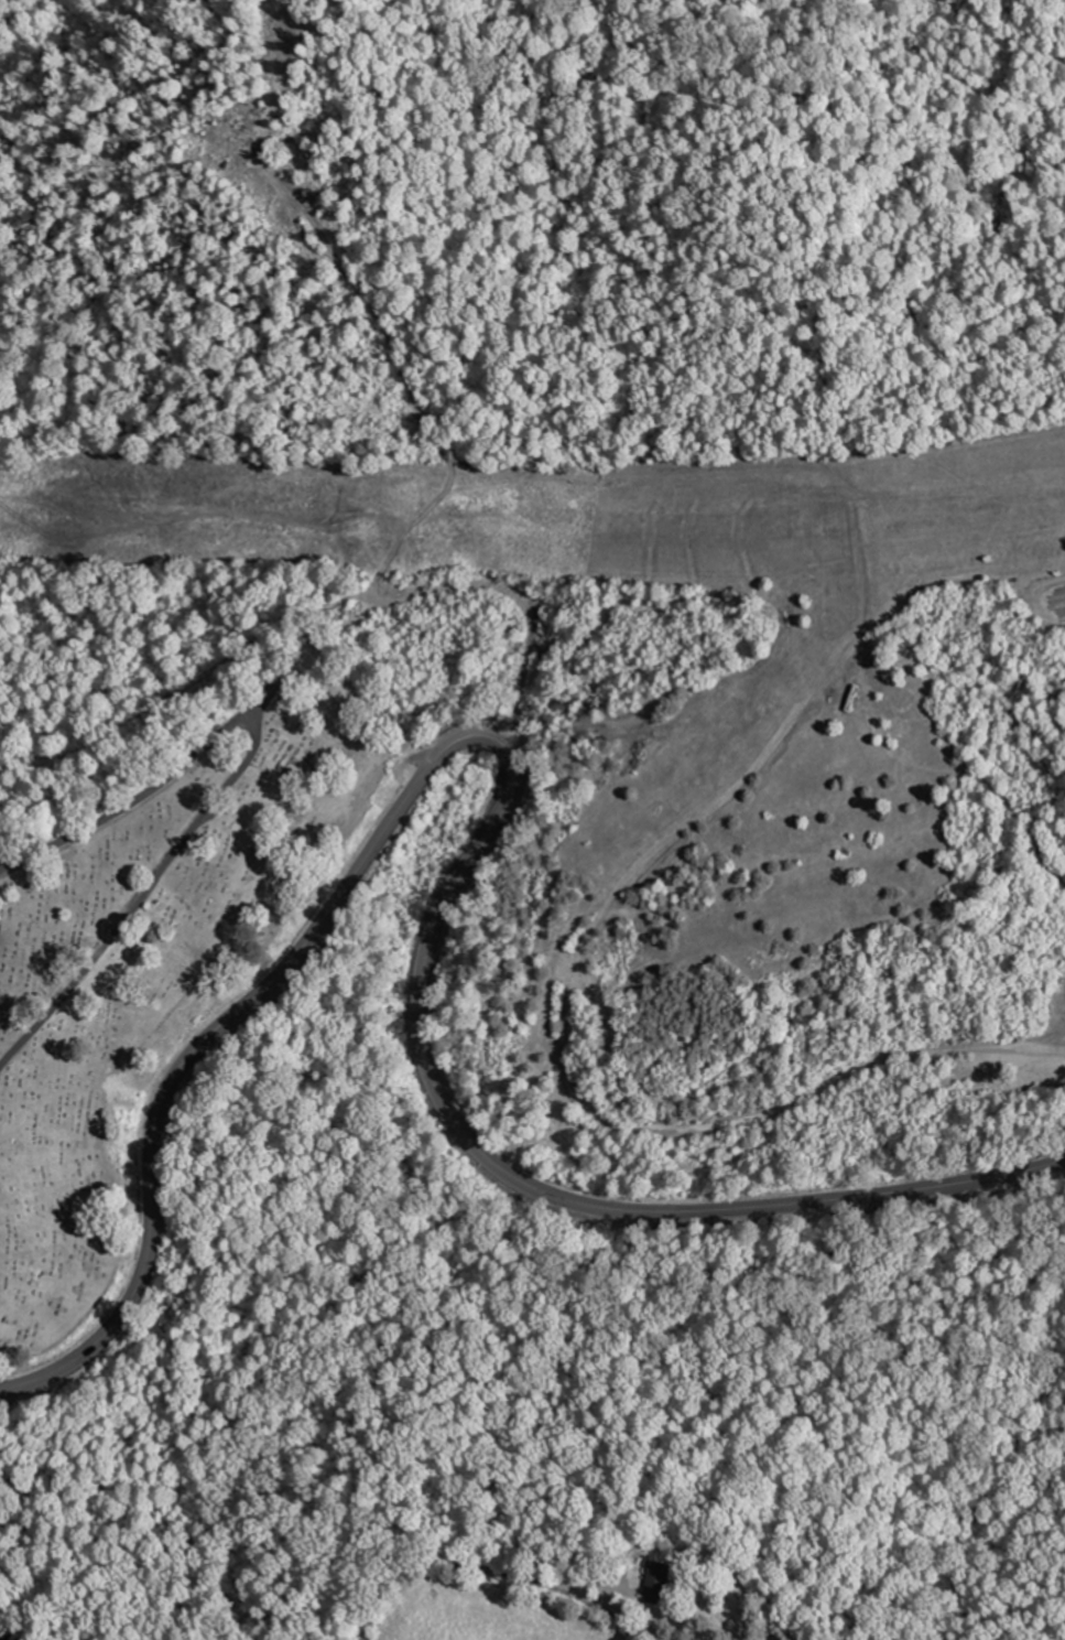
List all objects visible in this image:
road: (226, 786)
road: (490, 822)
road: (496, 1572)
building: (664, 1584)
road: (6, 1637)

